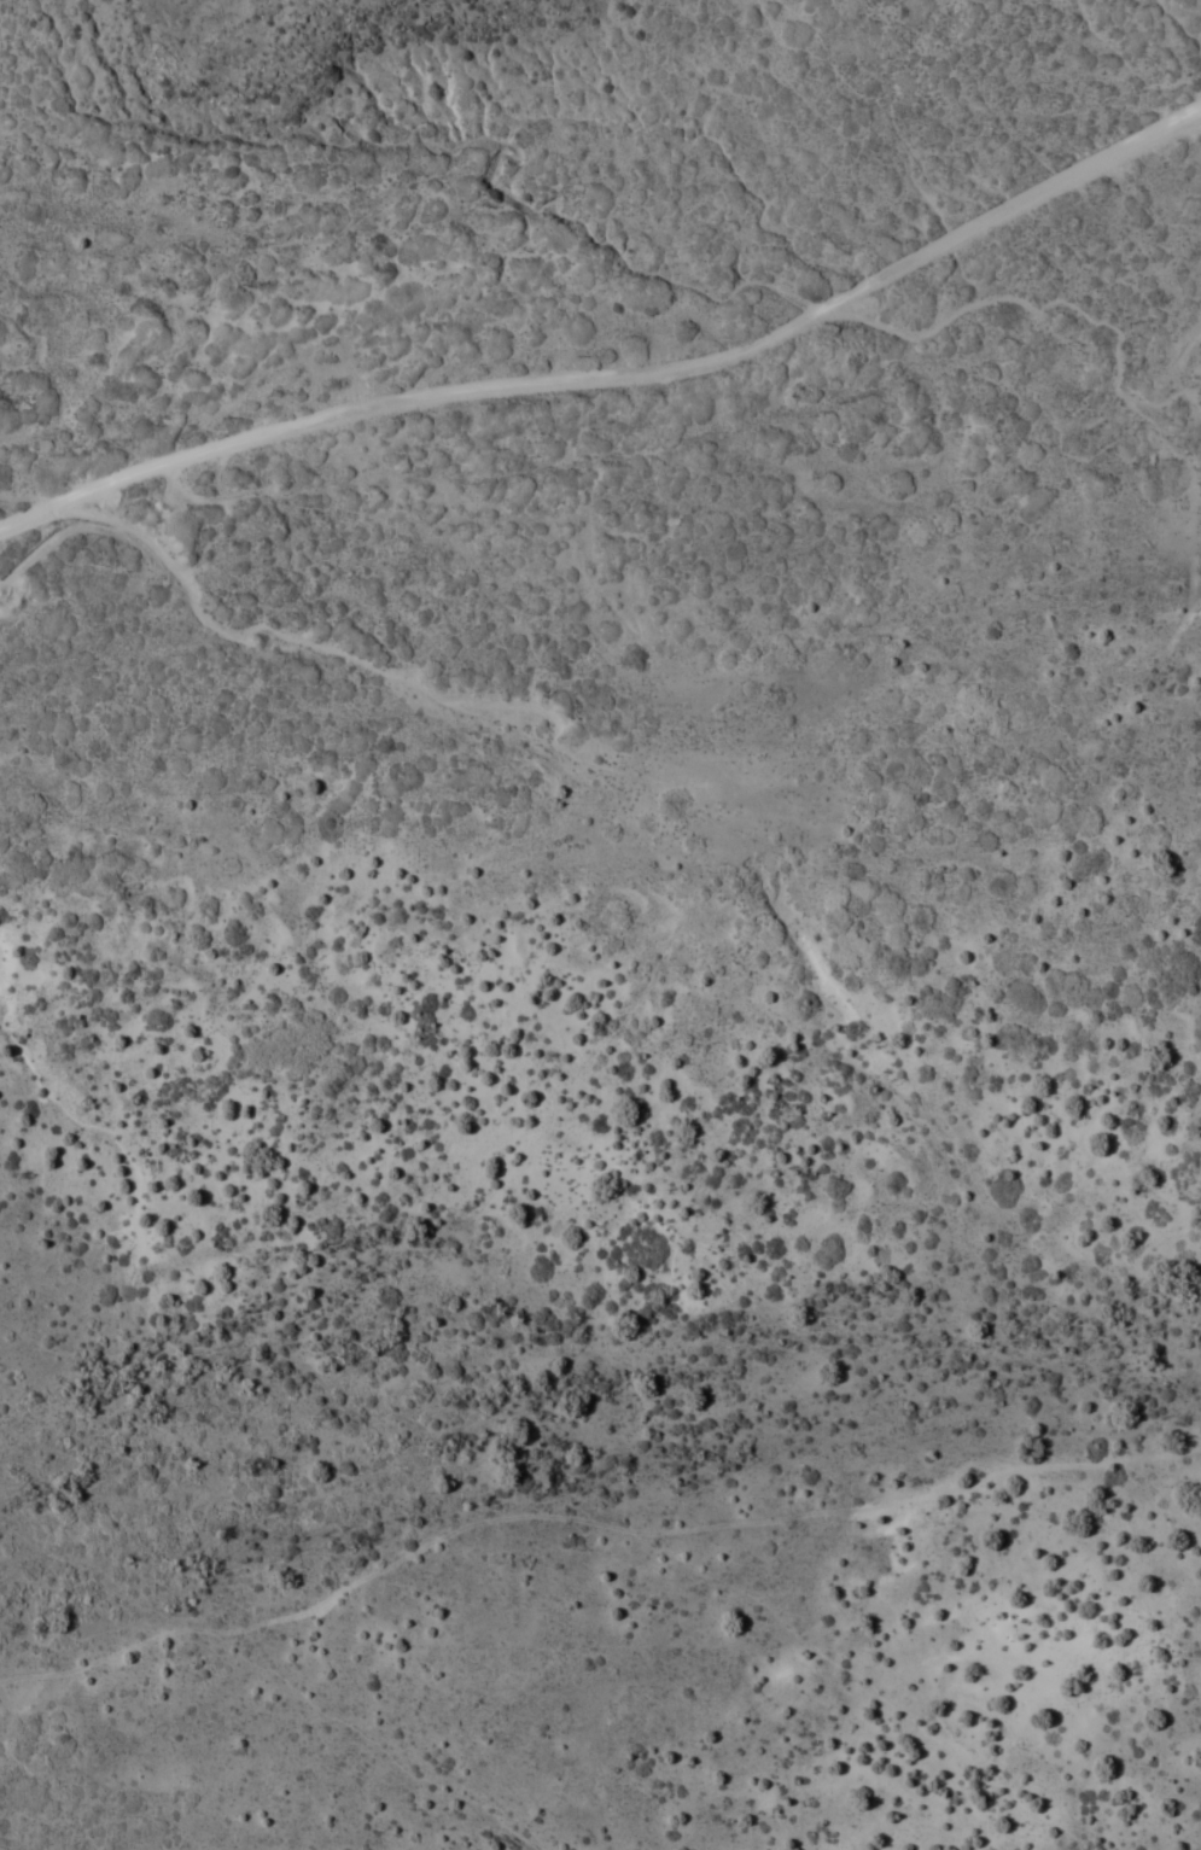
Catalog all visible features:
road: (619, 370)

